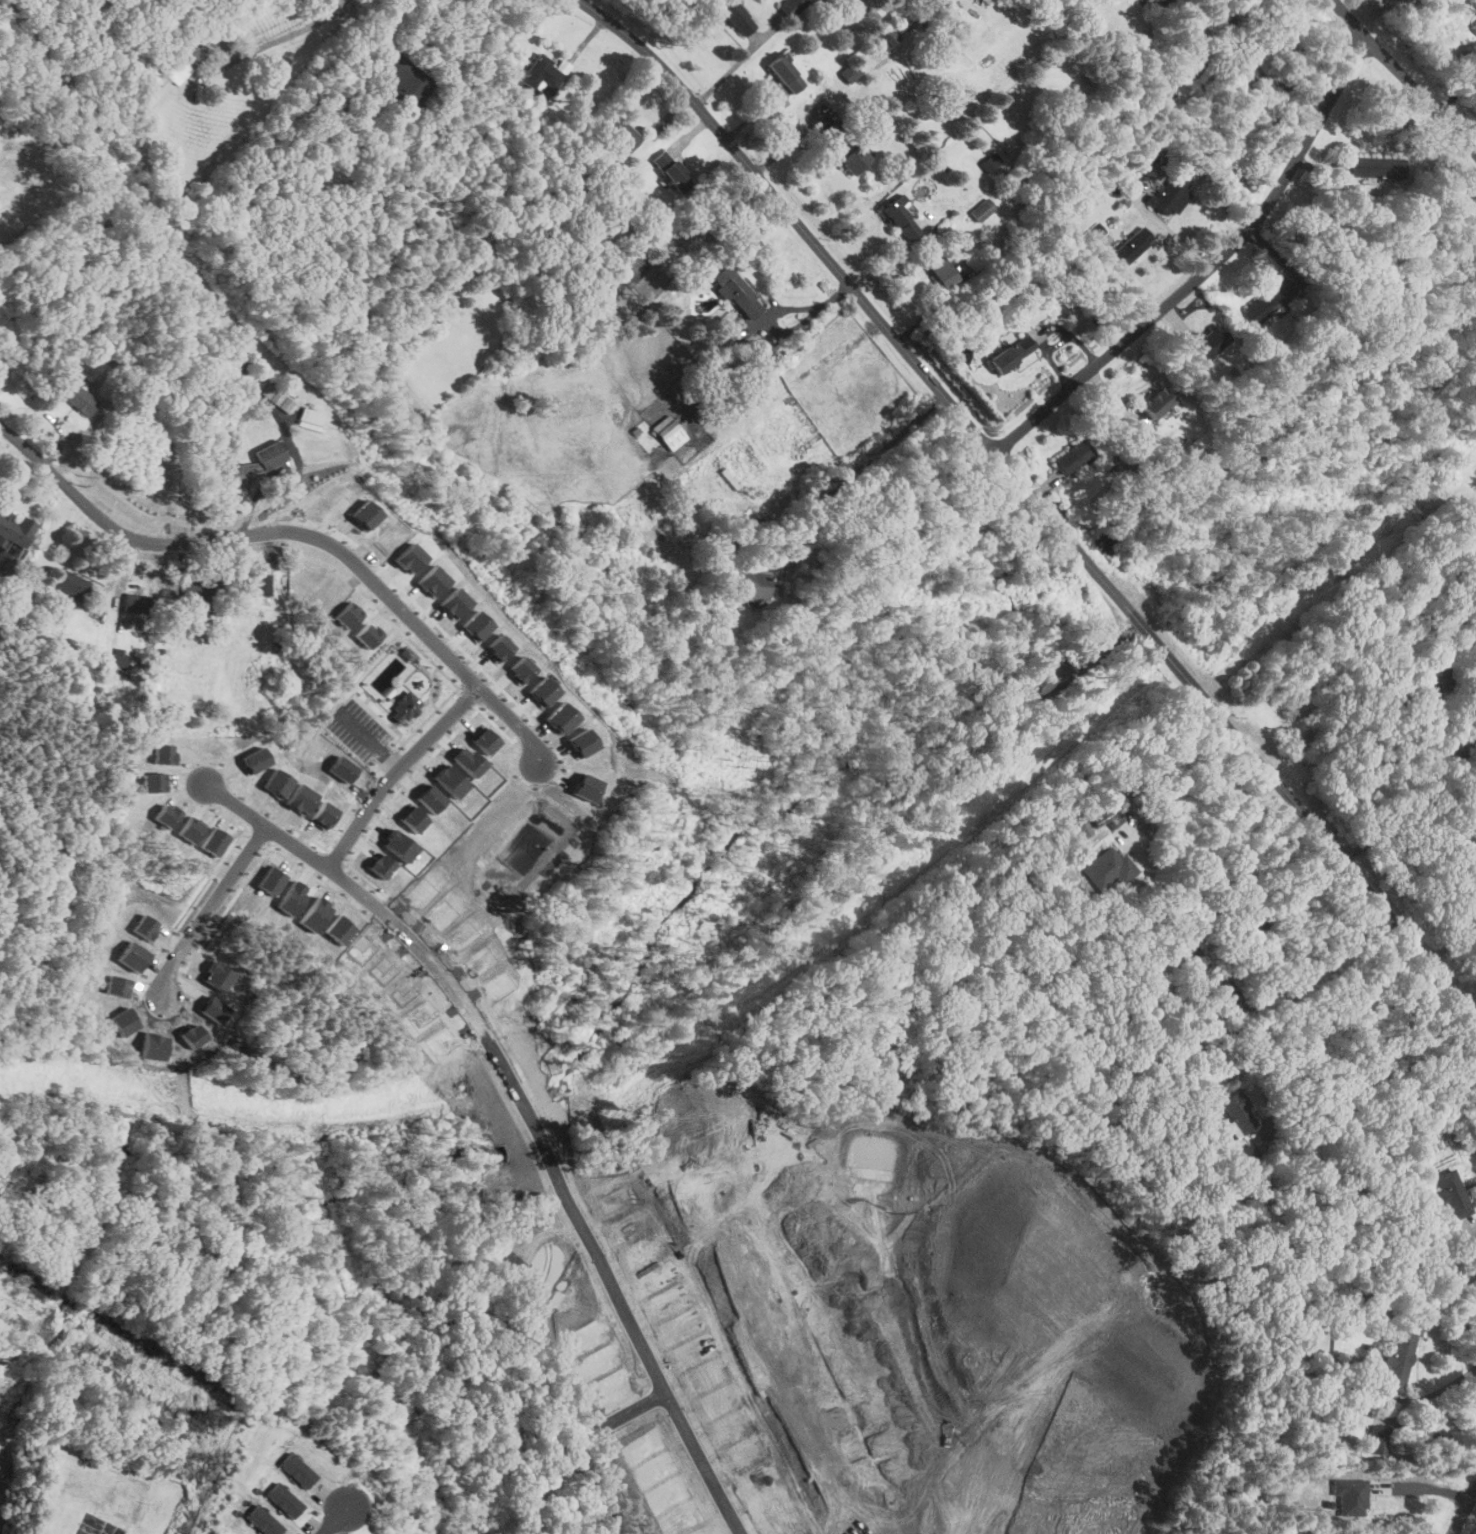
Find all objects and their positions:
building: (1472, 4)
building: (791, 6)
building: (736, 17)
road: (1348, 19)
building: (343, 20)
building: (1474, 26)
road: (284, 36)
building: (1243, 38)
building: (888, 39)
building: (181, 60)
building: (850, 73)
building: (541, 74)
building: (786, 74)
building: (407, 81)
road: (1283, 85)
road: (1455, 96)
road: (1420, 97)
building: (621, 134)
building: (846, 148)
building: (989, 163)
building: (1376, 167)
building: (670, 170)
building: (1168, 196)
building: (982, 210)
building: (900, 220)
road: (1167, 230)
building: (1094, 231)
building: (1130, 247)
road: (1206, 269)
building: (940, 271)
building: (737, 293)
building: (1268, 300)
road: (790, 329)
building: (1208, 341)
building: (1011, 354)
road: (827, 362)
building: (272, 394)
building: (80, 401)
building: (1157, 403)
building: (310, 418)
building: (668, 432)
building: (1072, 456)
building: (257, 463)
road: (852, 474)
road: (1033, 502)
building: (363, 514)
building: (14, 529)
road: (292, 533)
building: (408, 558)
building: (431, 580)
building: (70, 584)
building: (255, 585)
building: (750, 586)
building: (197, 591)
building: (453, 602)
building: (135, 603)
building: (475, 625)
building: (498, 646)
building: (118, 656)
building: (520, 669)
building: (1047, 676)
building: (1434, 676)
building: (542, 691)
building: (560, 717)
building: (1454, 749)
building: (469, 761)
road: (395, 772)
building: (451, 780)
road: (1424, 783)
building: (1102, 817)
building: (1077, 832)
road: (1206, 839)
building: (1470, 864)
building: (1107, 867)
road: (1243, 881)
road: (213, 907)
building: (1256, 922)
road: (1450, 937)
road: (1321, 957)
building: (1190, 959)
building: (1230, 998)
road: (1362, 1071)
building: (1238, 1112)
road: (527, 1119)
building: (1244, 1155)
building: (1453, 1193)
road: (1475, 1224)
road: (1131, 1355)
road: (829, 1360)
building: (1398, 1360)
road: (1432, 1394)
power tower: (214, 1417)
road: (1440, 1436)
building: (1380, 1441)
building: (297, 1470)
road: (1421, 1486)
building: (1350, 1495)
building: (284, 1500)
road: (1463, 1510)
building: (263, 1520)
road: (332, 1521)
park: (97, 1524)
road: (1343, 1533)

